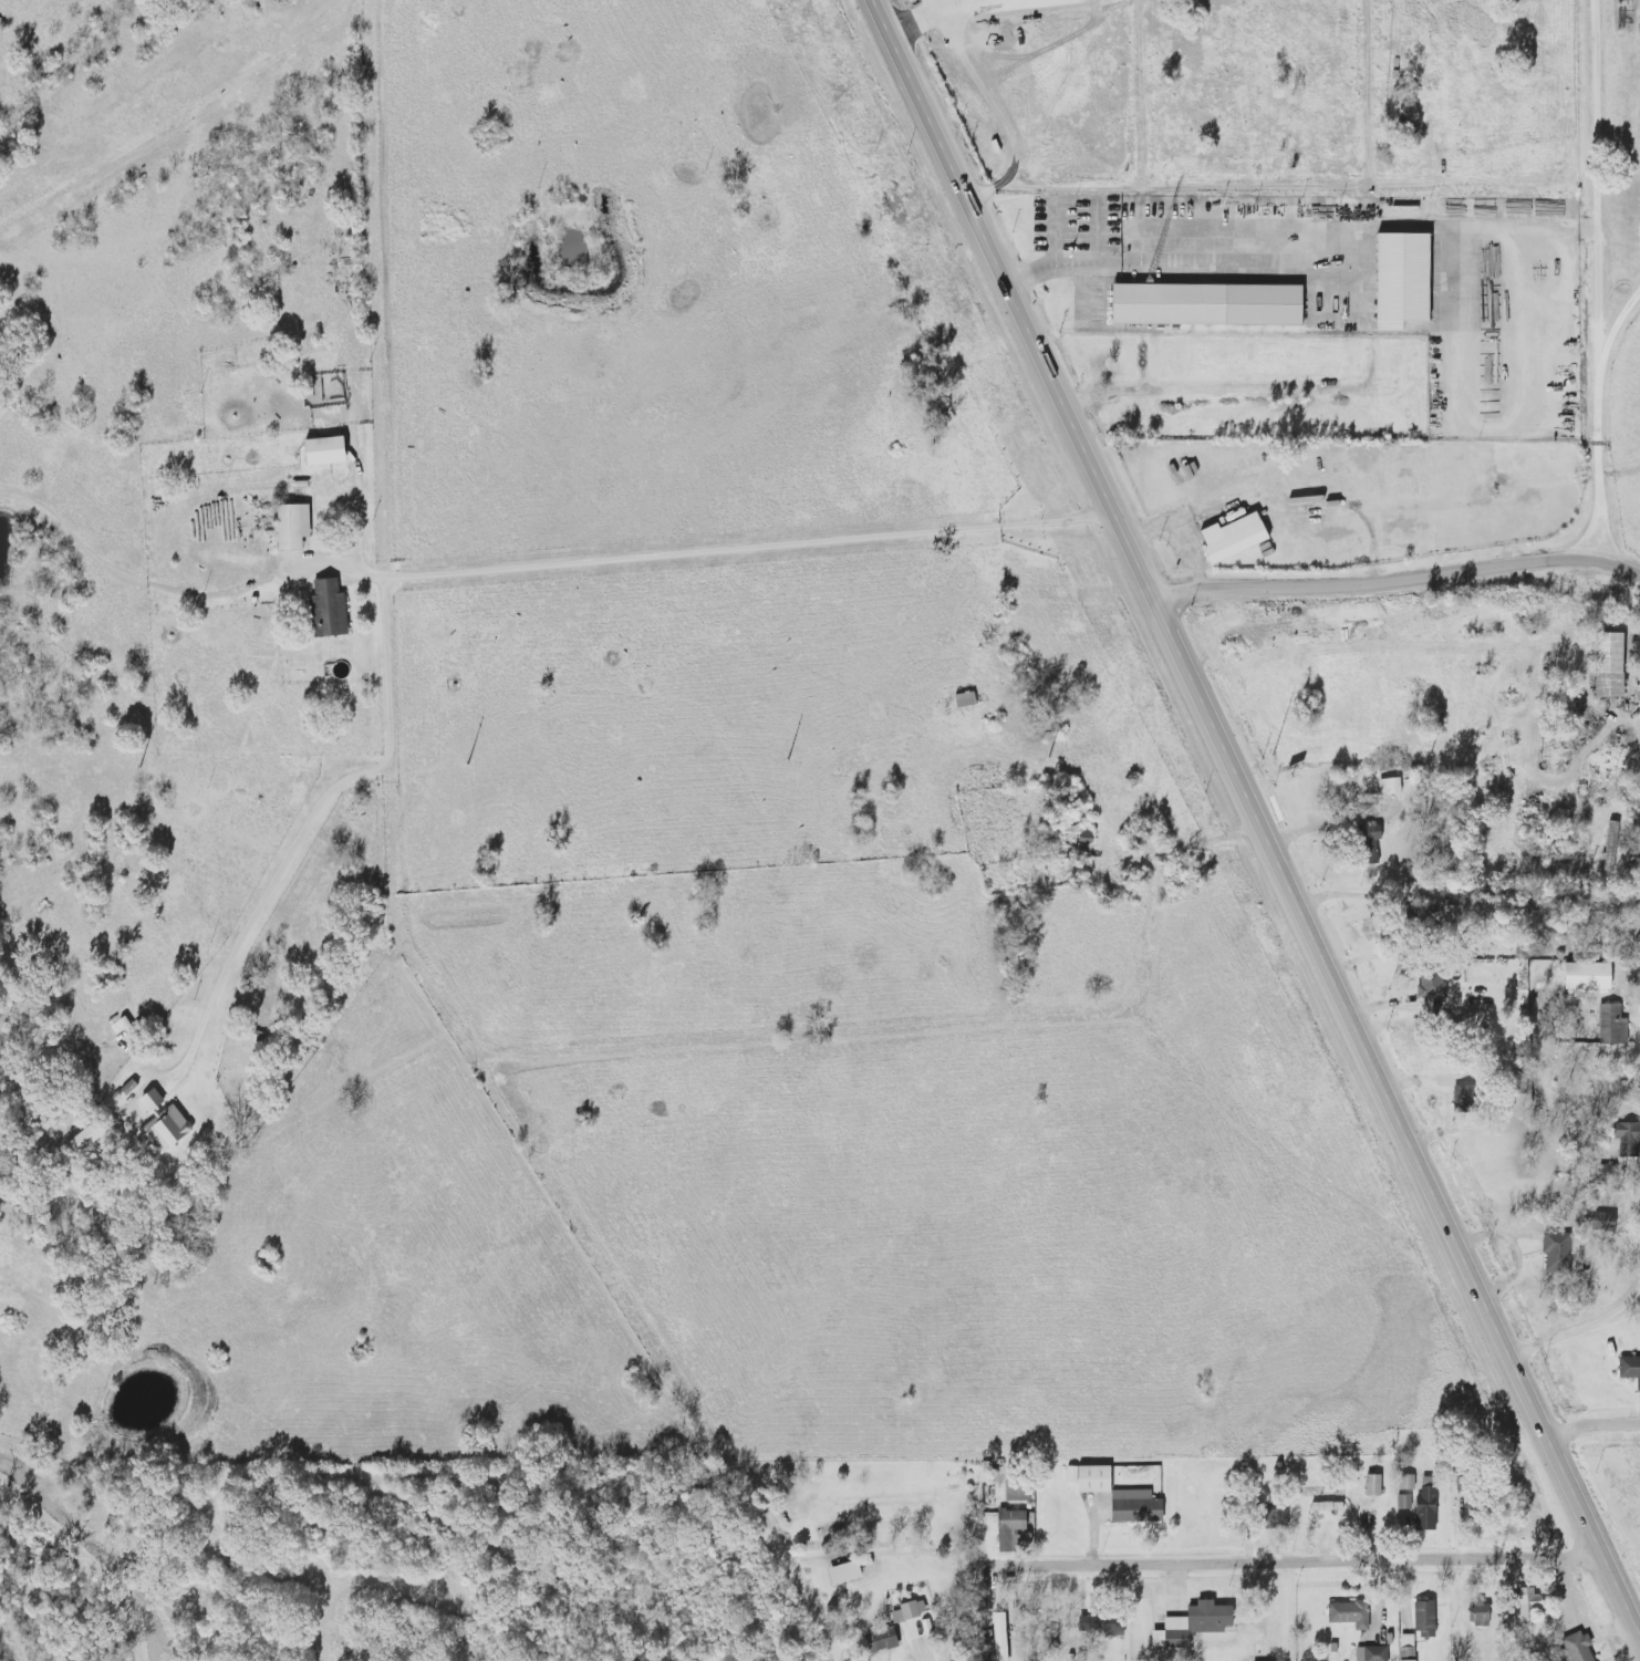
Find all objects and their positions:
road: (1597, 174)
road: (1281, 188)
building: (1395, 280)
road: (1367, 294)
building: (1202, 305)
road: (1212, 392)
road: (1600, 426)
building: (319, 451)
building: (288, 527)
building: (1227, 538)
road: (735, 544)
road: (1620, 572)
road: (1380, 584)
building: (334, 609)
building: (1603, 664)
building: (962, 700)
power tower: (1434, 755)
power tower: (1262, 756)
power tower: (1047, 757)
power tower: (786, 759)
power tower: (463, 764)
power tower: (139, 768)
building: (1385, 786)
road: (1256, 810)
road: (310, 812)
road: (1340, 827)
building: (1081, 838)
building: (1091, 838)
building: (1373, 844)
building: (1607, 845)
road: (1186, 849)
building: (1425, 915)
building: (1581, 976)
building: (1428, 985)
building: (1619, 1022)
building: (1468, 1101)
building: (1625, 1136)
building: (1600, 1221)
building: (1564, 1250)
road: (1579, 1332)
building: (1633, 1368)
road: (697, 1412)
road: (1591, 1422)
building: (1086, 1478)
building: (1404, 1482)
building: (1369, 1485)
building: (1015, 1492)
building: (1401, 1502)
building: (1333, 1506)
building: (1142, 1507)
building: (1432, 1508)
building: (1423, 1509)
building: (1276, 1520)
building: (1016, 1526)
road: (1314, 1568)
building: (841, 1572)
building: (1522, 1605)
building: (1533, 1606)
building: (910, 1609)
building: (1357, 1613)
building: (1484, 1616)
building: (1214, 1618)
building: (1431, 1619)
building: (1106, 1624)
building: (996, 1637)
building: (879, 1641)
building: (1584, 1648)
building: (1368, 1653)

